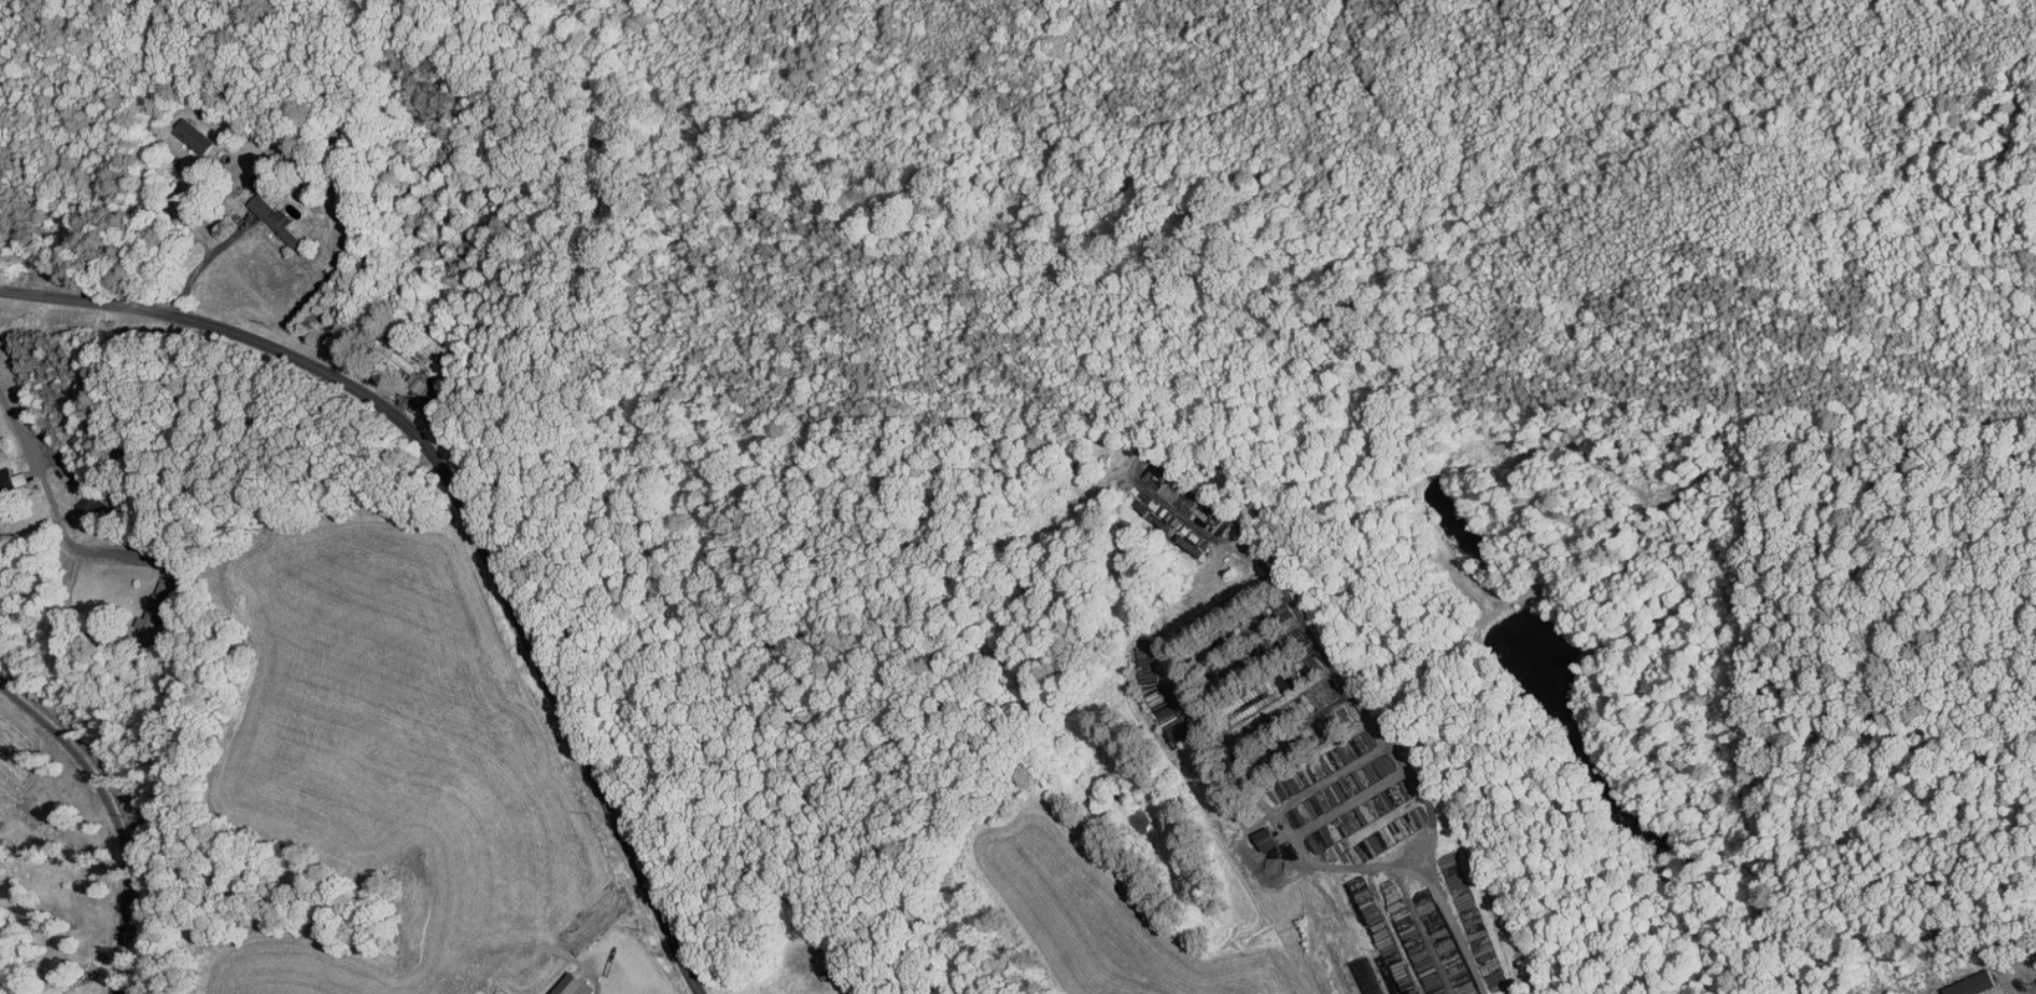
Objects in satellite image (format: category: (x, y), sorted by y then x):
building: (184, 130)
building: (265, 213)
building: (392, 354)
building: (2, 475)
road: (33, 475)
road: (466, 502)
road: (123, 548)
road: (108, 820)
building: (1259, 832)
road: (1434, 882)
building: (1357, 973)
building: (1964, 980)
road: (2019, 980)
building: (564, 982)

